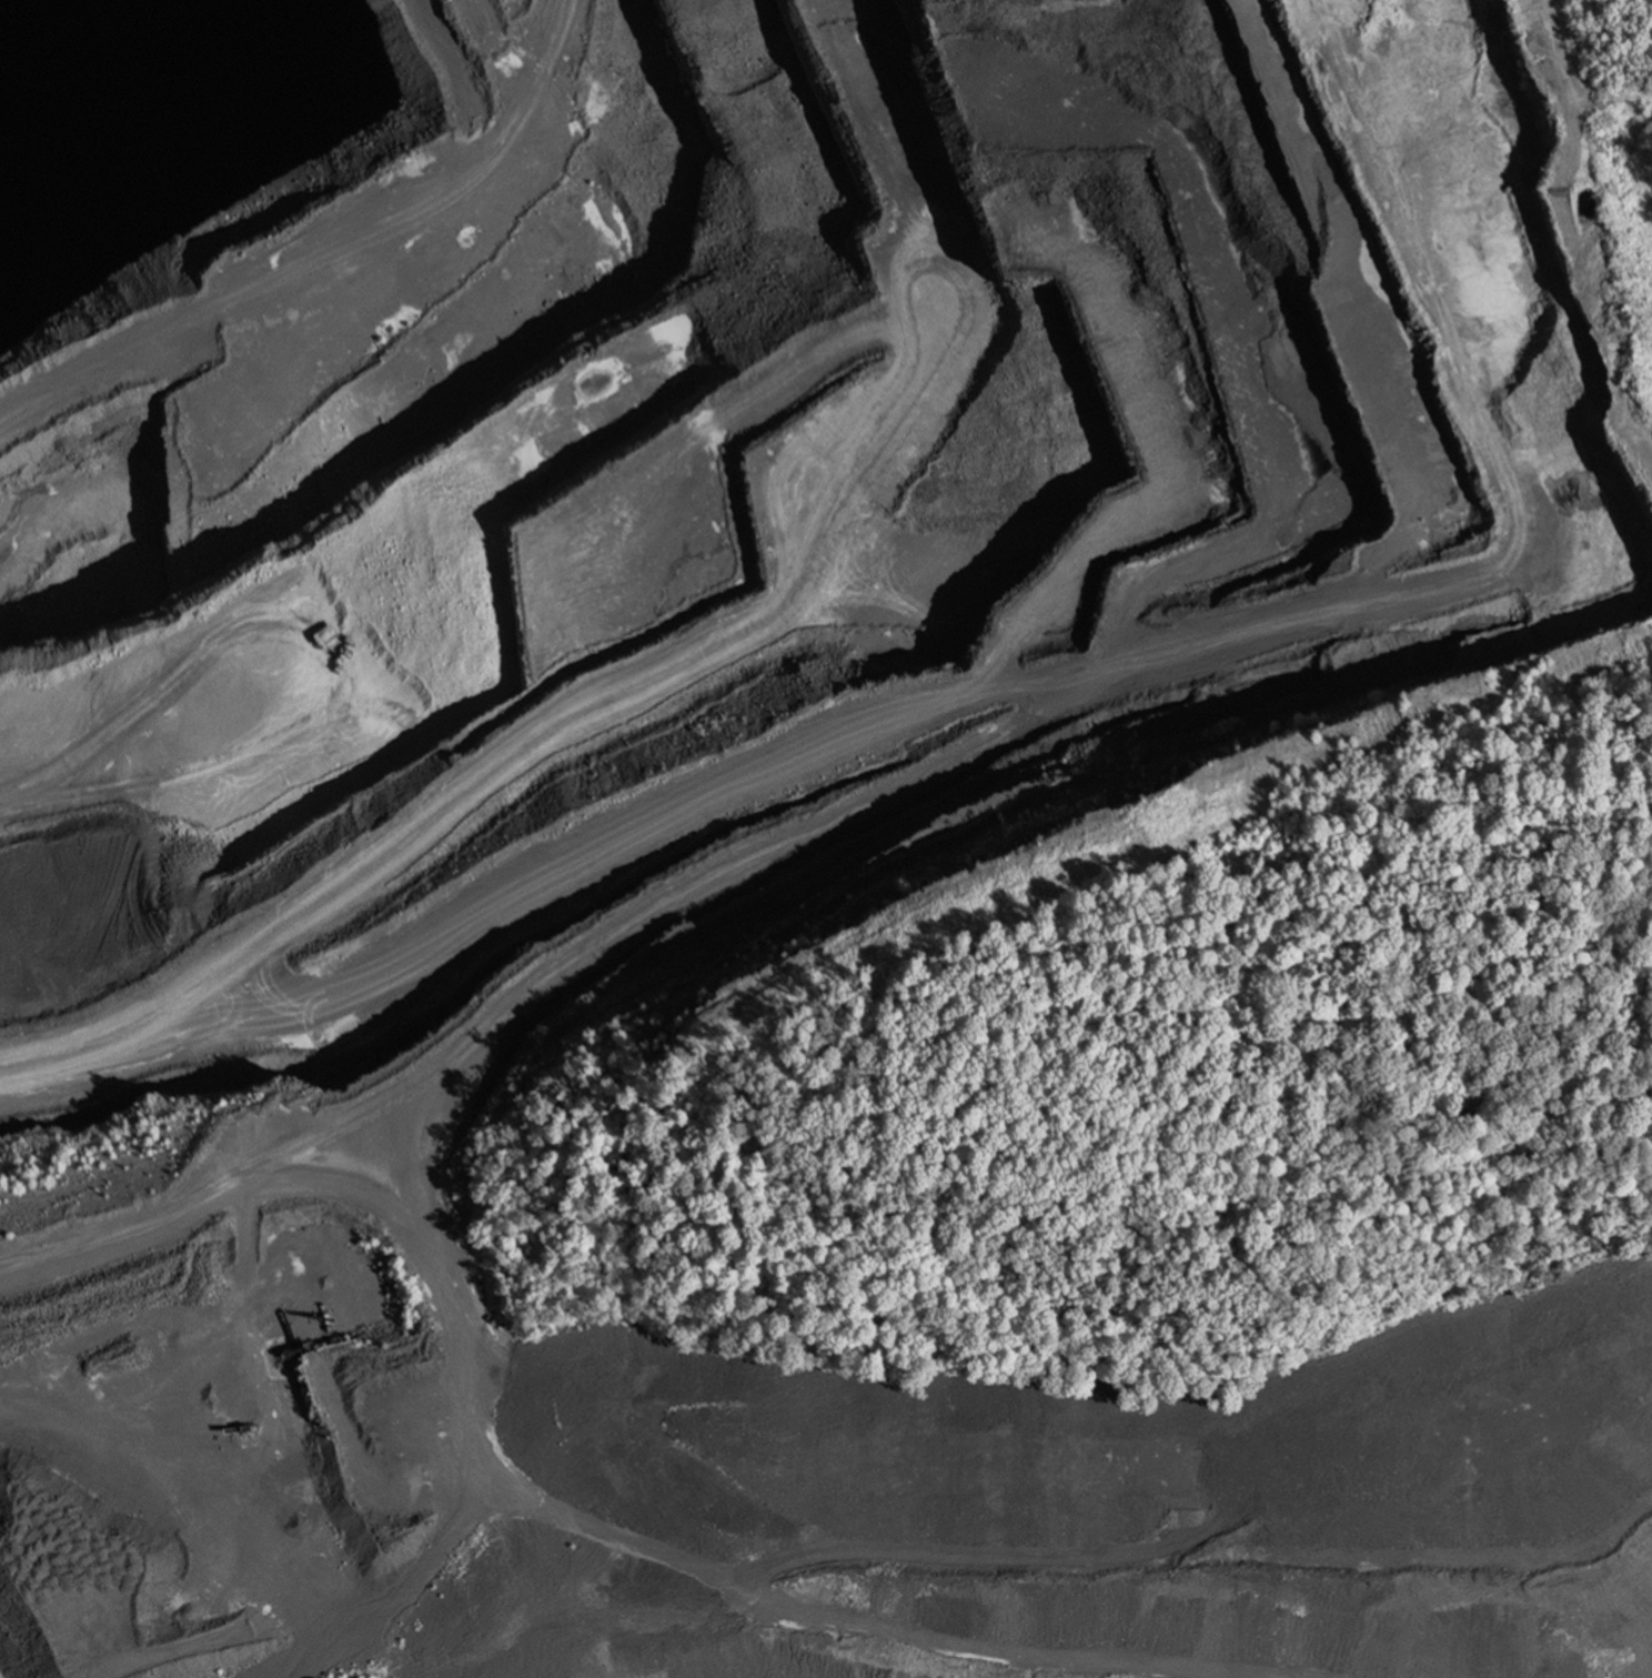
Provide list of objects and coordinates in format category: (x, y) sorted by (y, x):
road: (1559, 46)
road: (510, 112)
road: (1537, 228)
road: (817, 753)
road: (534, 772)
quarry: (729, 804)
road: (148, 966)
road: (444, 1284)
road: (203, 1468)
road: (827, 1592)

